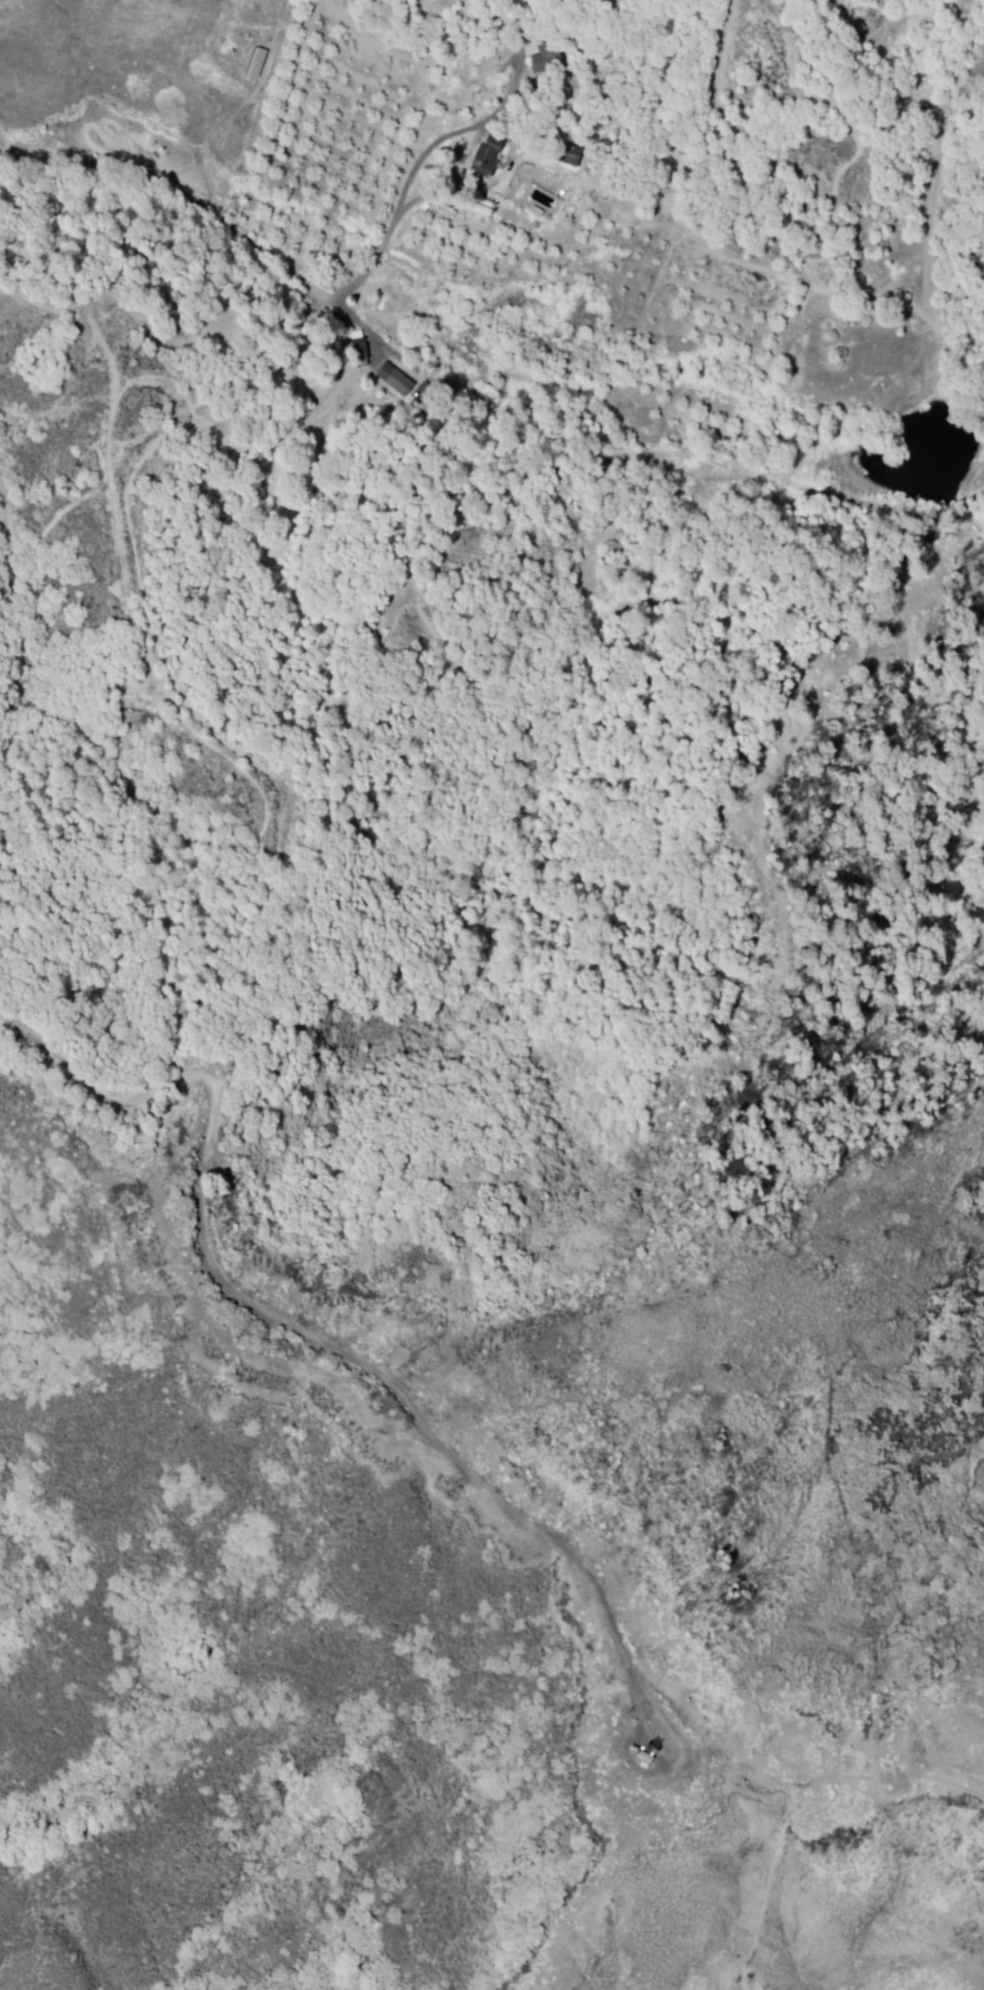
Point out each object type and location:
building: (547, 61)
building: (261, 65)
road: (240, 114)
building: (492, 159)
road: (419, 165)
road: (180, 191)
road: (362, 326)
building: (400, 383)
road: (324, 1339)
road: (740, 1763)
road: (784, 1793)
road: (798, 1797)

